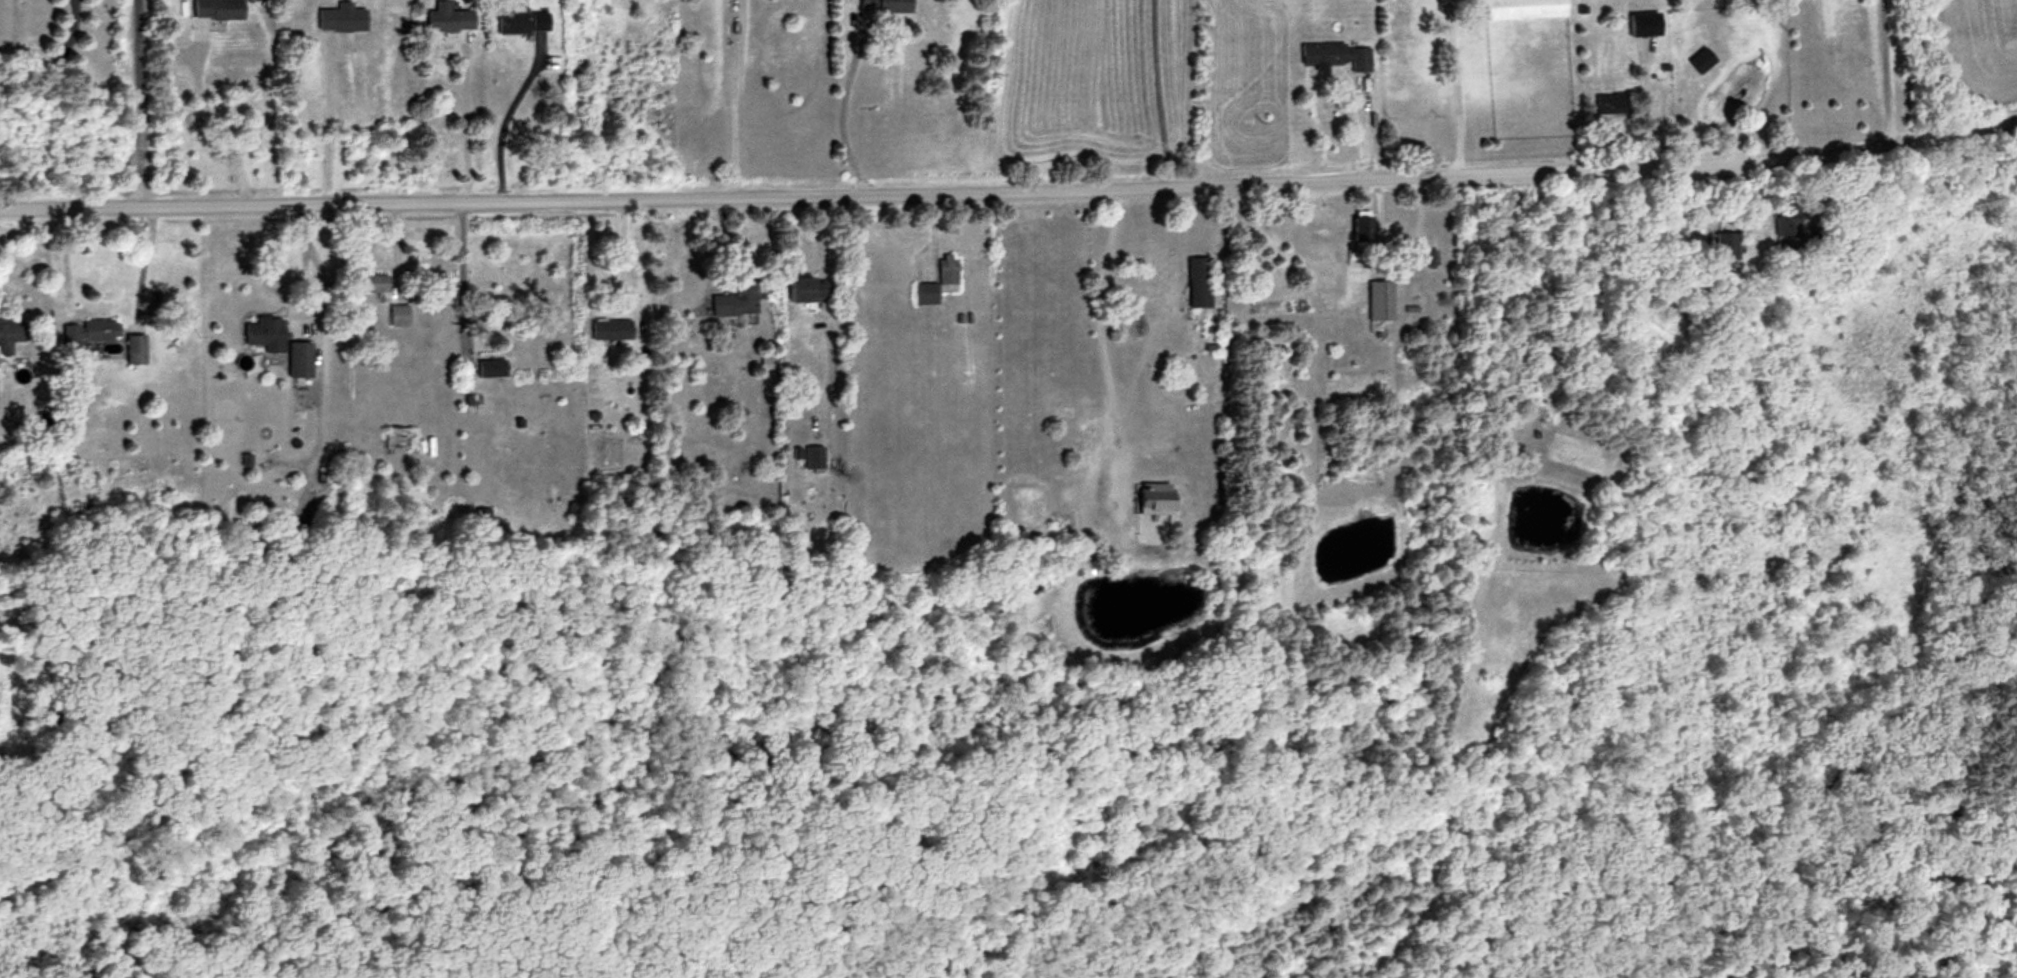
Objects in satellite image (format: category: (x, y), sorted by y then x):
building: (882, 5)
building: (1522, 8)
building: (341, 17)
building: (447, 17)
building: (538, 20)
building: (509, 22)
building: (1642, 23)
building: (1334, 55)
road: (1883, 70)
road: (1455, 86)
road: (1154, 93)
road: (729, 97)
road: (138, 102)
road: (837, 112)
road: (503, 114)
road: (213, 123)
road: (461, 124)
road: (1010, 189)
building: (1784, 222)
building: (1360, 228)
building: (1723, 245)
building: (937, 281)
building: (1197, 281)
building: (371, 282)
building: (803, 289)
road: (1096, 297)
building: (734, 299)
building: (1379, 299)
building: (397, 314)
building: (610, 329)
building: (88, 331)
building: (10, 333)
building: (264, 333)
building: (134, 348)
building: (297, 359)
building: (489, 367)
building: (394, 437)
building: (812, 456)
building: (1156, 497)
park: (1148, 738)

